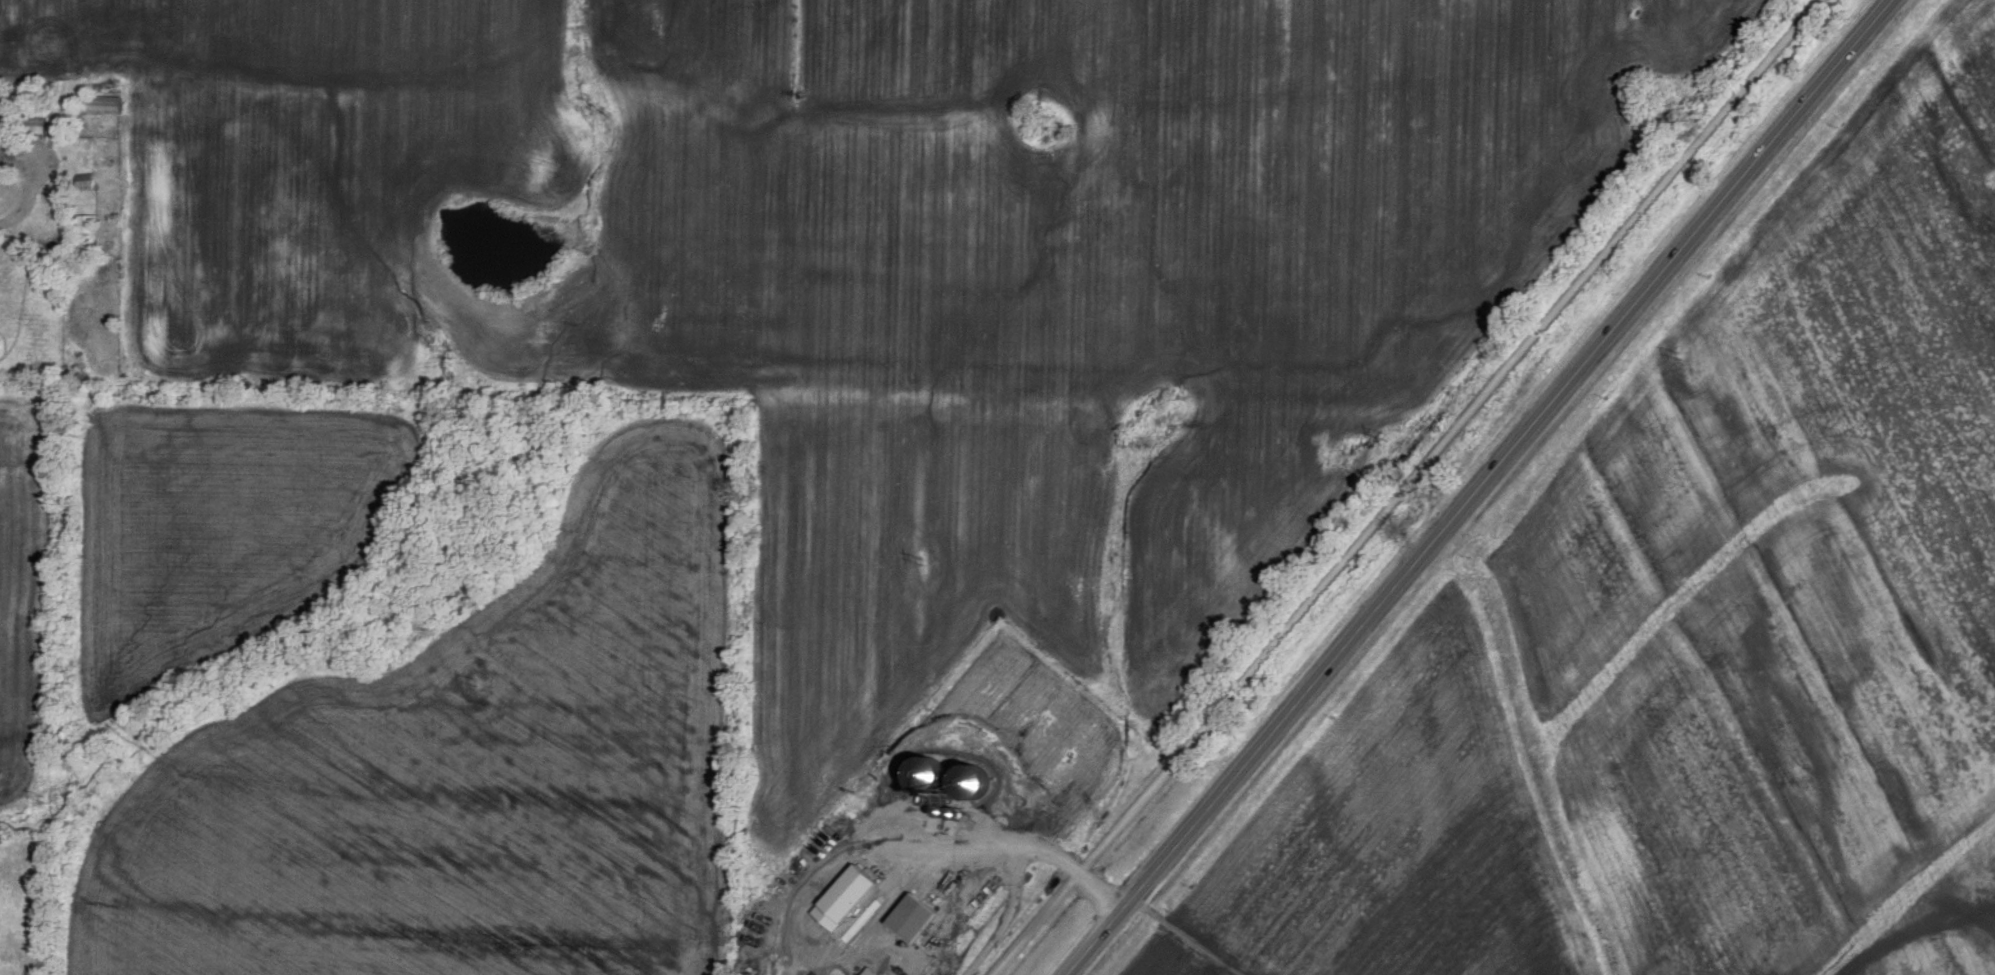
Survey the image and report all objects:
building: (1857, 33)
building: (105, 103)
building: (40, 124)
building: (56, 192)
road: (26, 197)
building: (92, 222)
power tower: (1678, 355)
power tower: (1386, 436)
road: (1410, 484)
road: (1480, 487)
power tower: (927, 557)
crop: (1786, 558)
power tower: (478, 682)
power tower: (53, 801)
crop: (1389, 828)
road: (973, 848)
building: (853, 897)
building: (922, 917)
building: (877, 971)
building: (852, 974)

